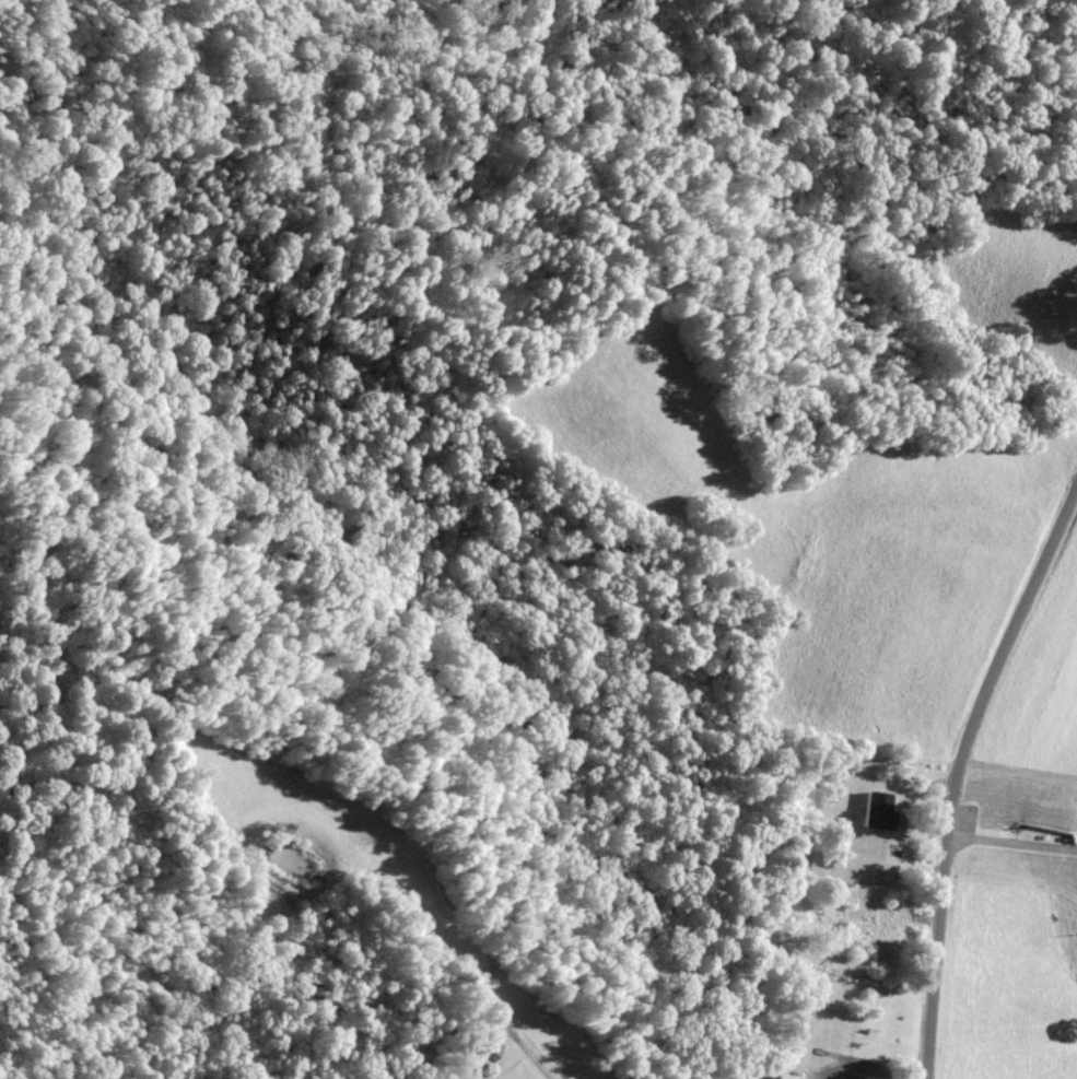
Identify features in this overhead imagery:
road: (958, 769)
building: (880, 810)
road: (901, 821)
road: (1012, 840)
road: (406, 901)
road: (913, 919)
building: (867, 934)
building: (482, 1045)
road: (868, 1068)
building: (789, 1077)
building: (848, 1077)

